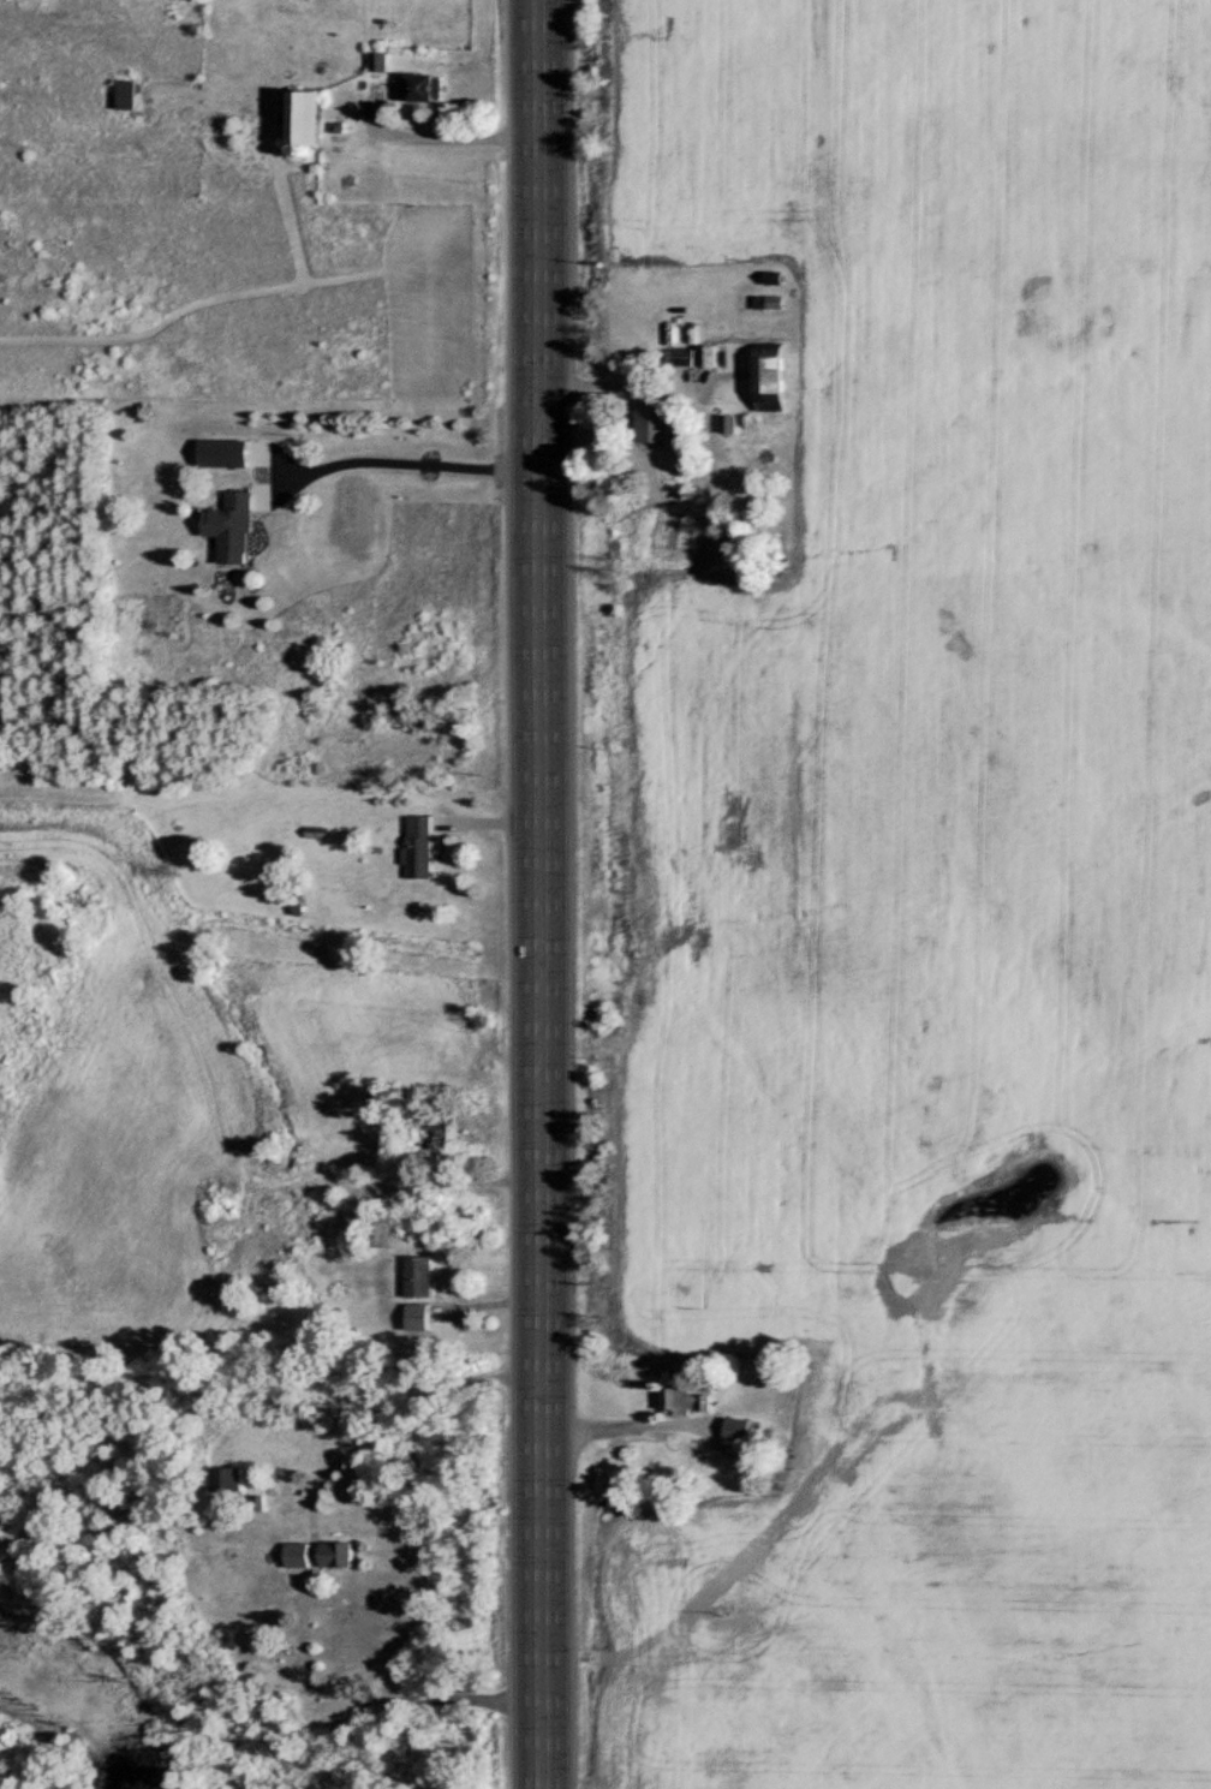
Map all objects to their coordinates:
building: (424, 88)
building: (127, 95)
building: (304, 118)
road: (449, 137)
building: (769, 376)
road: (608, 382)
building: (654, 422)
building: (227, 452)
road: (410, 460)
building: (234, 526)
park: (996, 670)
building: (418, 846)
road: (541, 894)
building: (381, 1228)
building: (418, 1275)
building: (418, 1316)
building: (684, 1401)
road: (614, 1421)
building: (735, 1429)
building: (225, 1478)
building: (296, 1554)
building: (335, 1554)
road: (380, 1690)

